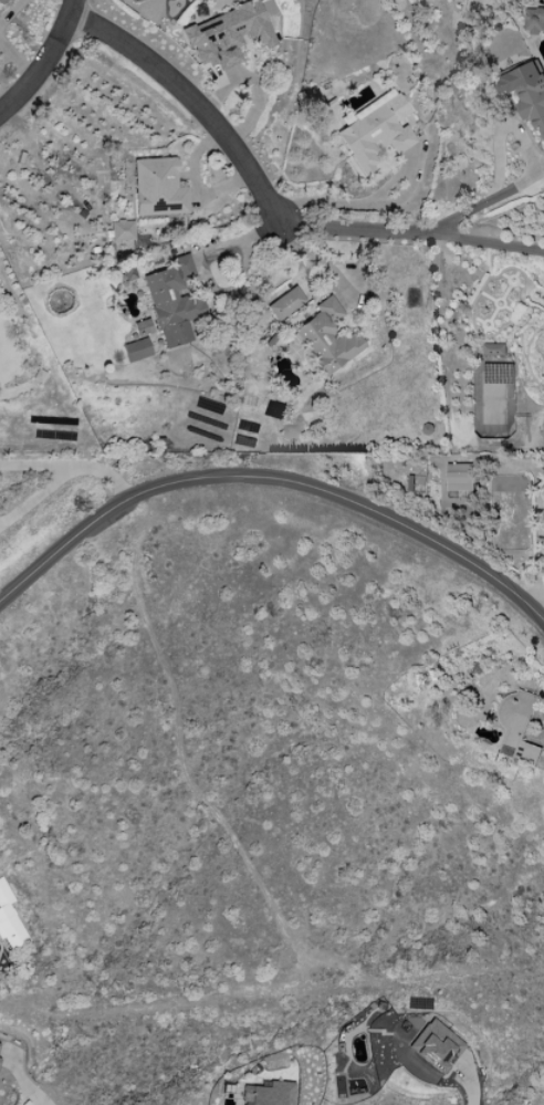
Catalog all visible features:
building: (1, 1)
building: (134, 1)
road: (69, 9)
building: (533, 20)
building: (226, 35)
road: (39, 67)
building: (526, 93)
road: (187, 98)
building: (373, 131)
road: (523, 155)
building: (156, 188)
building: (119, 231)
road: (407, 231)
road: (230, 240)
building: (170, 302)
building: (279, 305)
building: (325, 338)
building: (492, 348)
building: (134, 351)
road: (72, 463)
building: (459, 476)
road: (271, 477)
road: (36, 493)
road: (540, 519)
building: (516, 724)
building: (9, 921)
building: (437, 1046)
road: (40, 1094)
building: (268, 1094)
road: (469, 1094)

